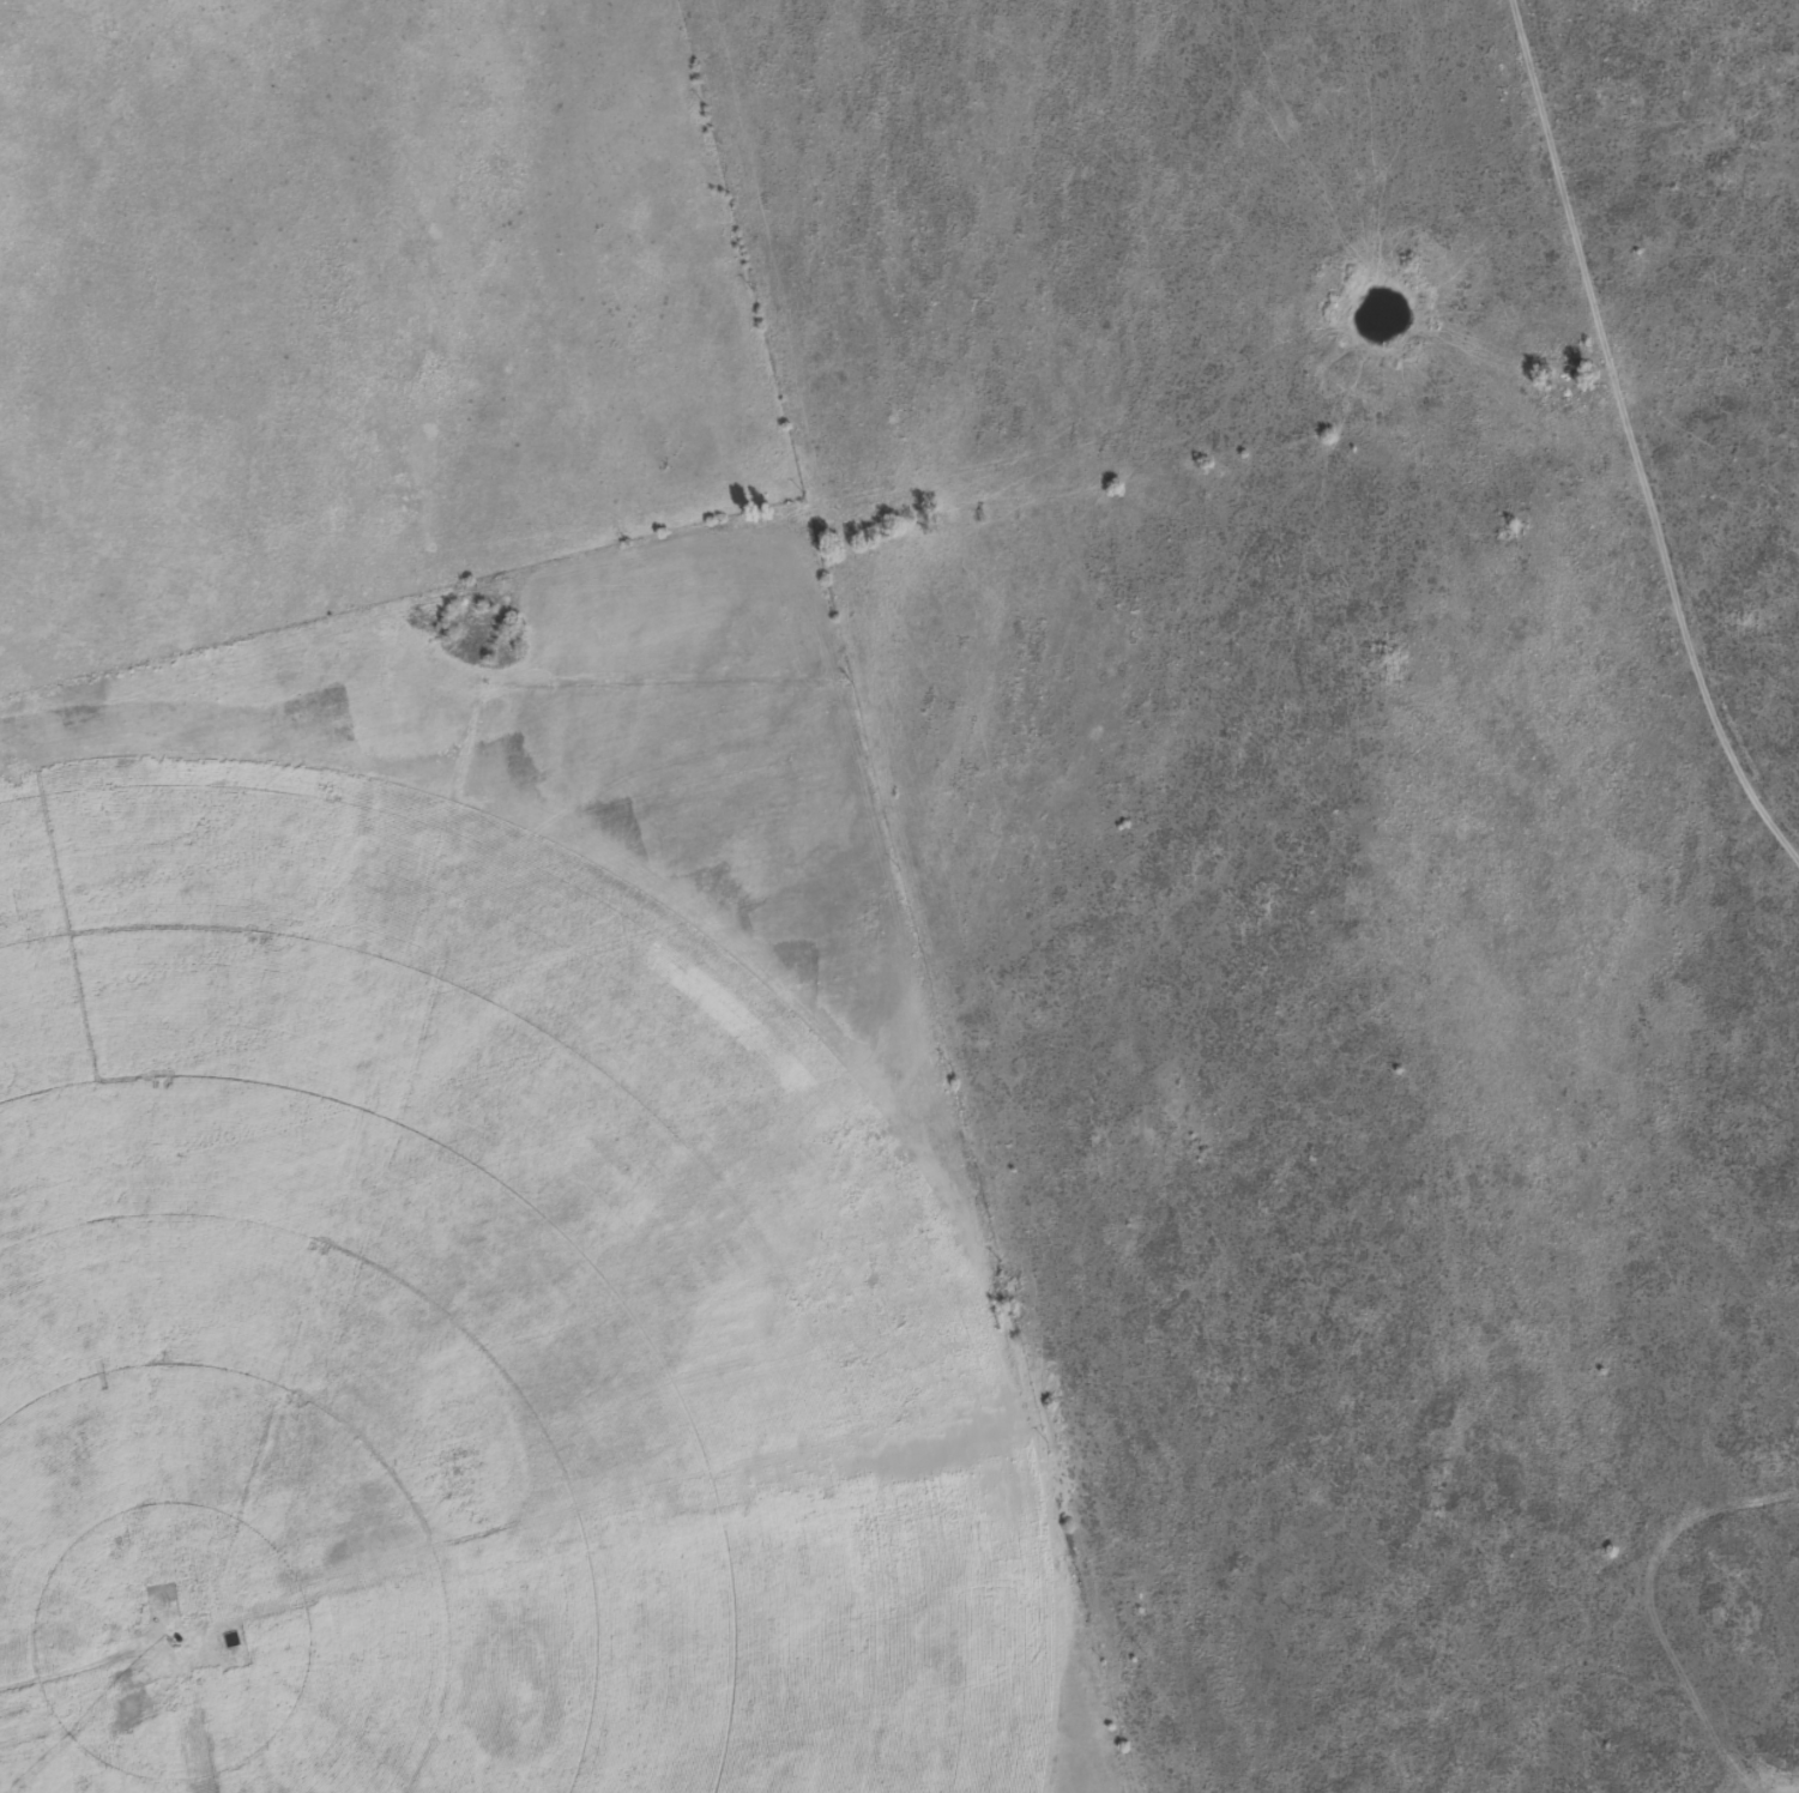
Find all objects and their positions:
road: (1626, 446)
road: (1647, 1616)

